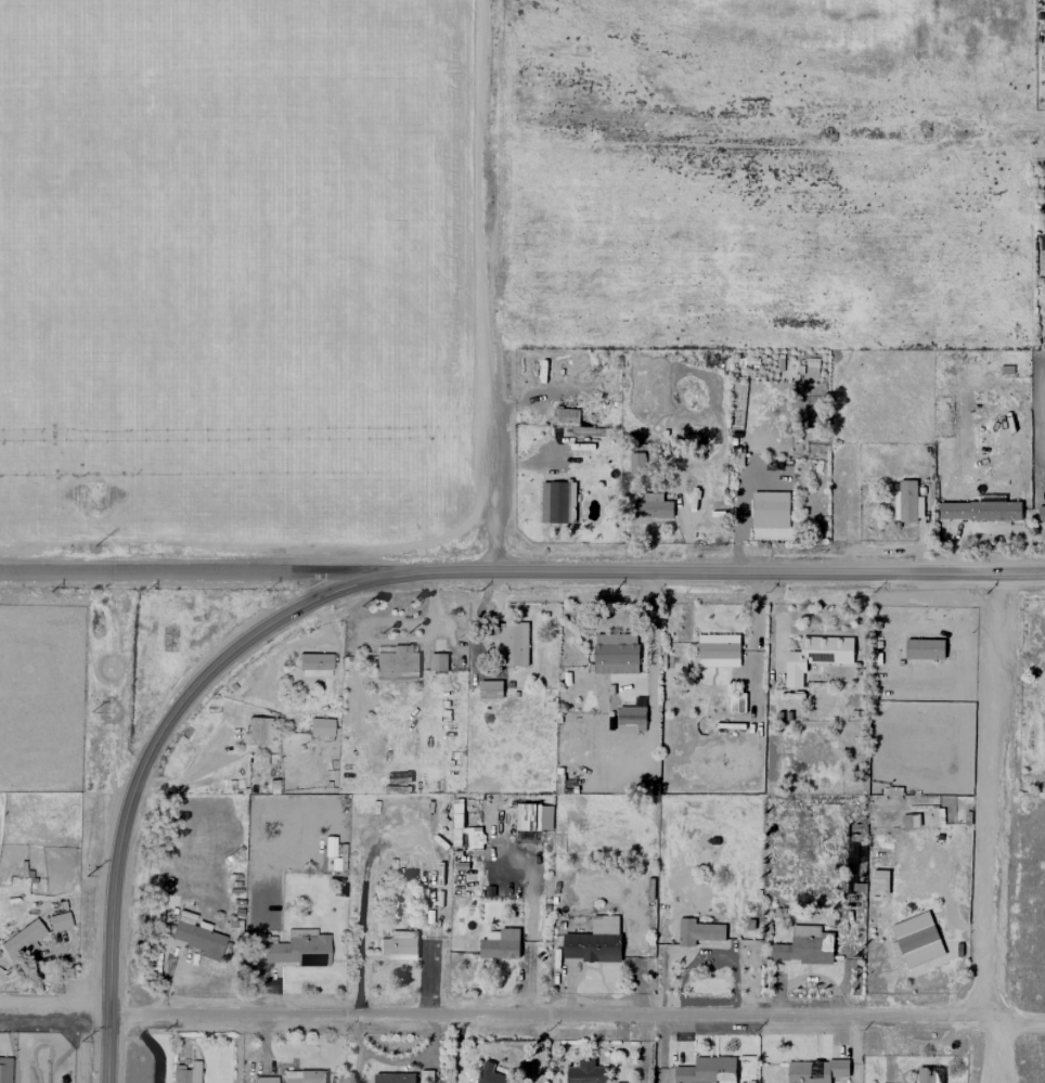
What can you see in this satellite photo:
building: (1043, 216)
building: (1042, 242)
road: (493, 285)
building: (566, 415)
building: (635, 463)
building: (557, 502)
building: (906, 502)
building: (653, 506)
building: (769, 510)
building: (978, 511)
building: (1041, 512)
road: (521, 570)
building: (512, 644)
building: (924, 648)
building: (718, 650)
building: (615, 654)
building: (815, 656)
building: (396, 661)
building: (437, 661)
building: (314, 663)
road: (1023, 688)
building: (490, 689)
building: (736, 702)
building: (630, 719)
building: (321, 726)
building: (259, 730)
road: (139, 775)
building: (532, 817)
building: (909, 821)
road: (999, 828)
building: (335, 856)
building: (849, 882)
building: (879, 882)
building: (154, 915)
building: (57, 920)
building: (697, 931)
building: (196, 938)
building: (22, 939)
building: (916, 940)
building: (593, 941)
building: (399, 945)
building: (500, 945)
building: (804, 947)
building: (296, 949)
road: (522, 1019)
road: (153, 1045)
building: (707, 1070)
building: (815, 1071)
building: (185, 1072)
building: (586, 1072)
building: (491, 1074)
building: (929, 1074)
building: (302, 1076)
building: (394, 1078)
building: (266, 1079)
building: (617, 1082)

